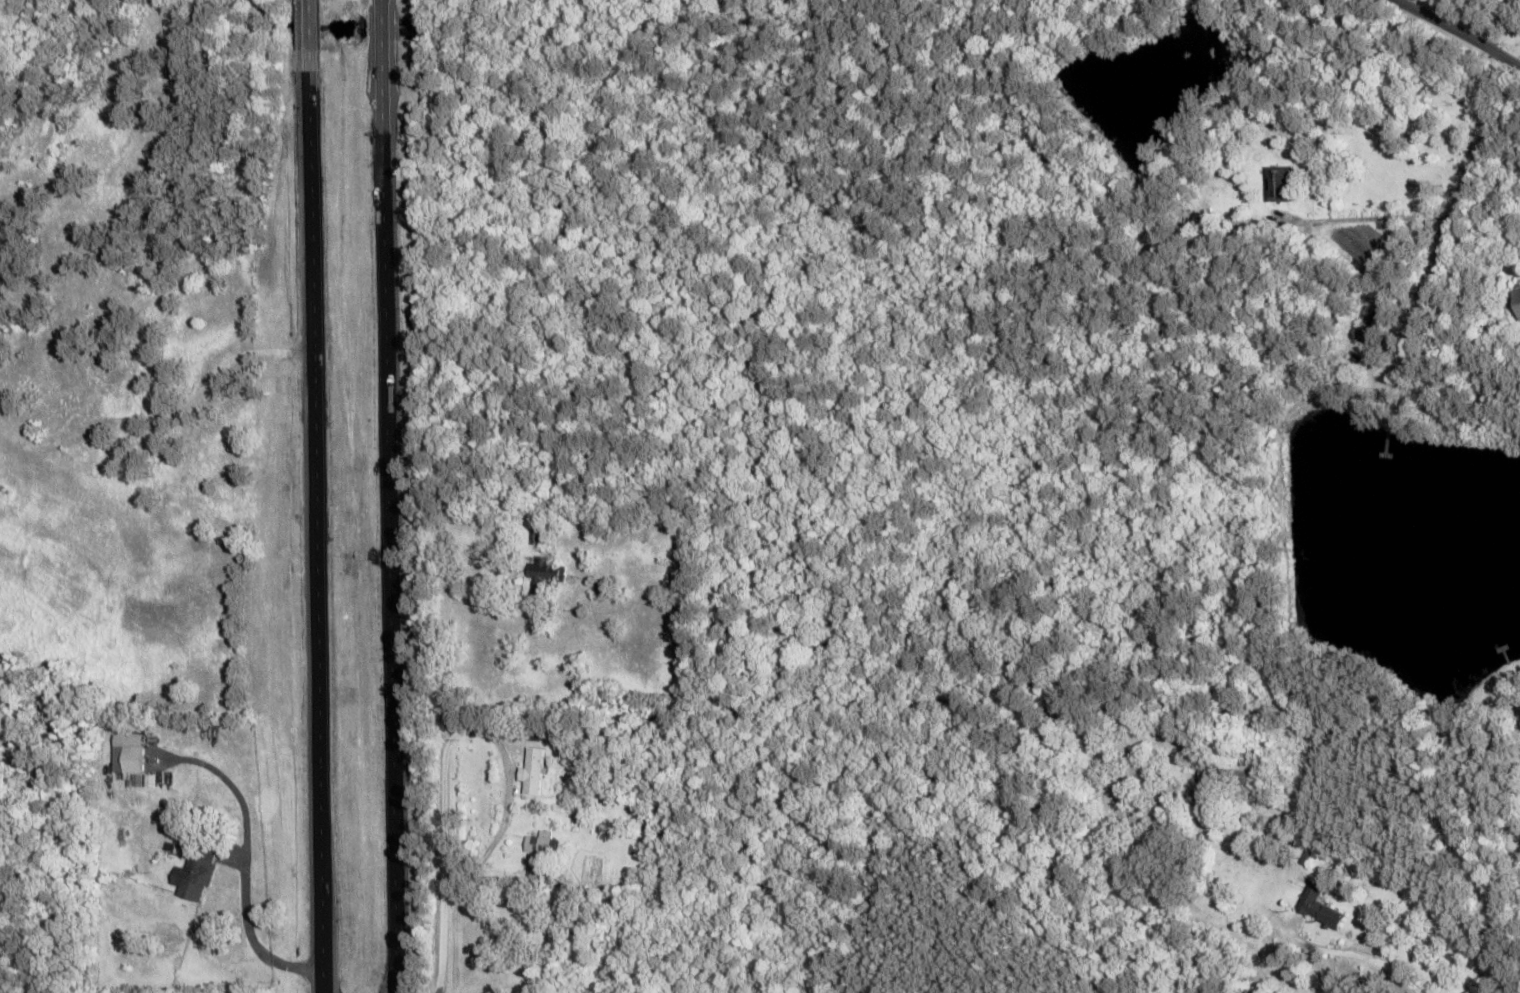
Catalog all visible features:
road: (1084, 2)
road: (1475, 28)
road: (1136, 29)
building: (1280, 183)
road: (1473, 184)
building: (1516, 300)
building: (1369, 321)
road: (313, 496)
road: (387, 496)
building: (544, 575)
building: (603, 590)
road: (947, 599)
building: (132, 754)
building: (532, 771)
building: (1207, 774)
building: (540, 843)
building: (194, 870)
building: (537, 876)
building: (1318, 906)

